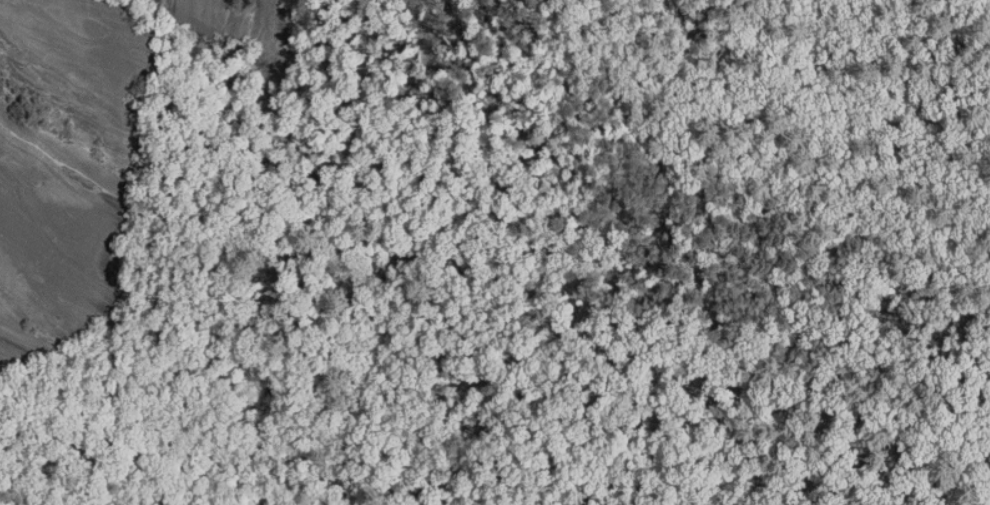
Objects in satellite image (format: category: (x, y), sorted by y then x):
road: (596, 50)
road: (534, 58)
road: (742, 325)

